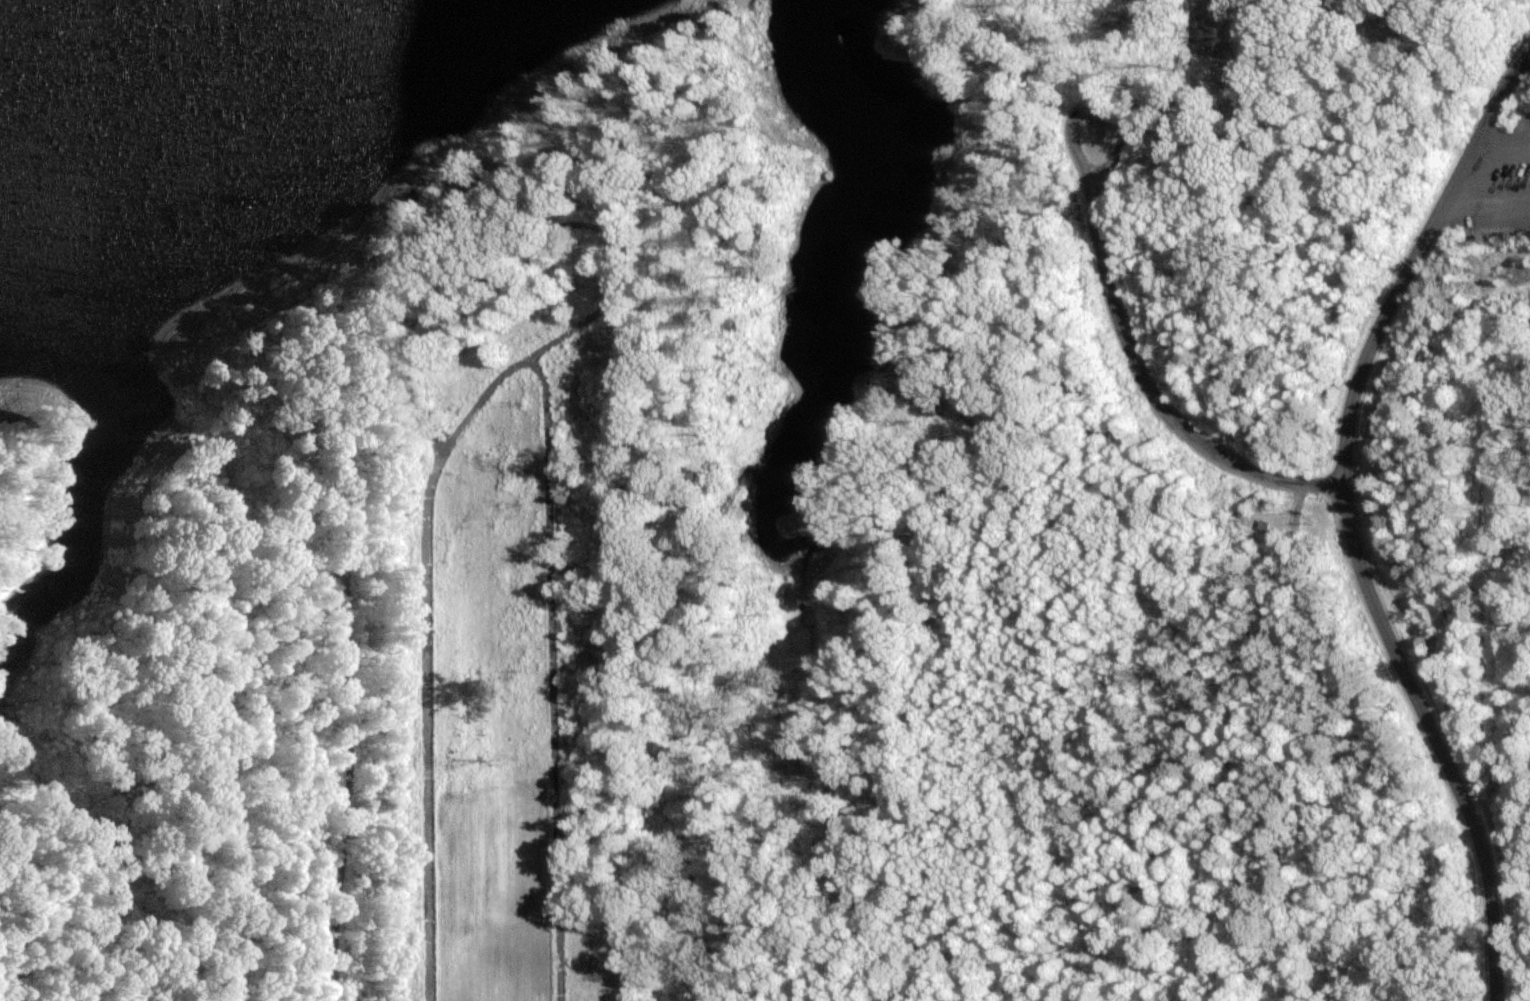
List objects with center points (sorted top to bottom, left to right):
road: (1079, 119)
road: (1499, 150)
parking lot: (1501, 181)
road: (1487, 197)
road: (1156, 400)
road: (1348, 520)
road: (432, 601)
road: (557, 676)
road: (1475, 680)
road: (367, 814)

